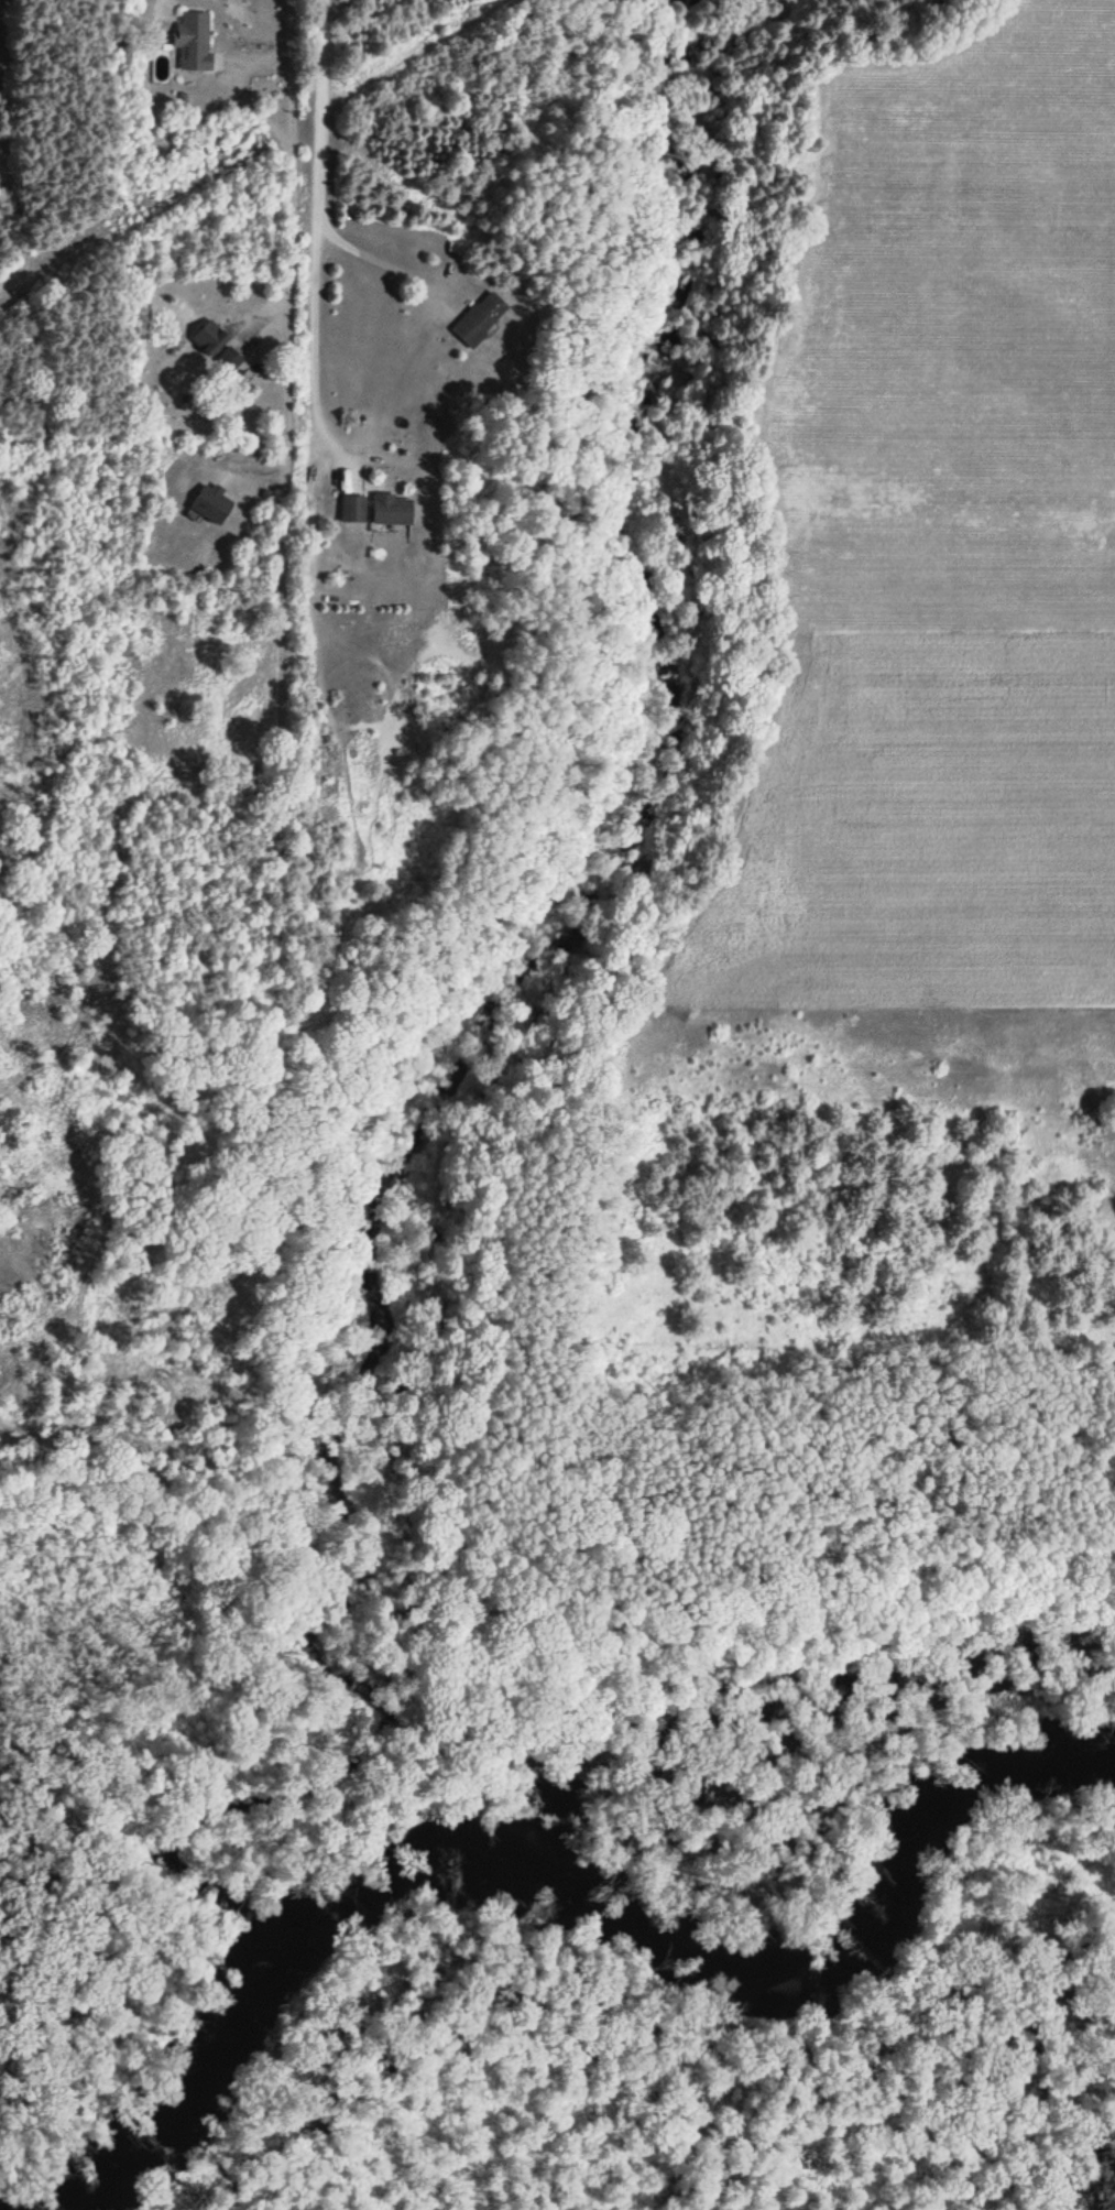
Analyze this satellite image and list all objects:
building: (195, 41)
road: (291, 228)
road: (314, 230)
building: (481, 318)
building: (218, 347)
building: (214, 504)
building: (354, 508)
building: (394, 509)
river: (556, 1873)

